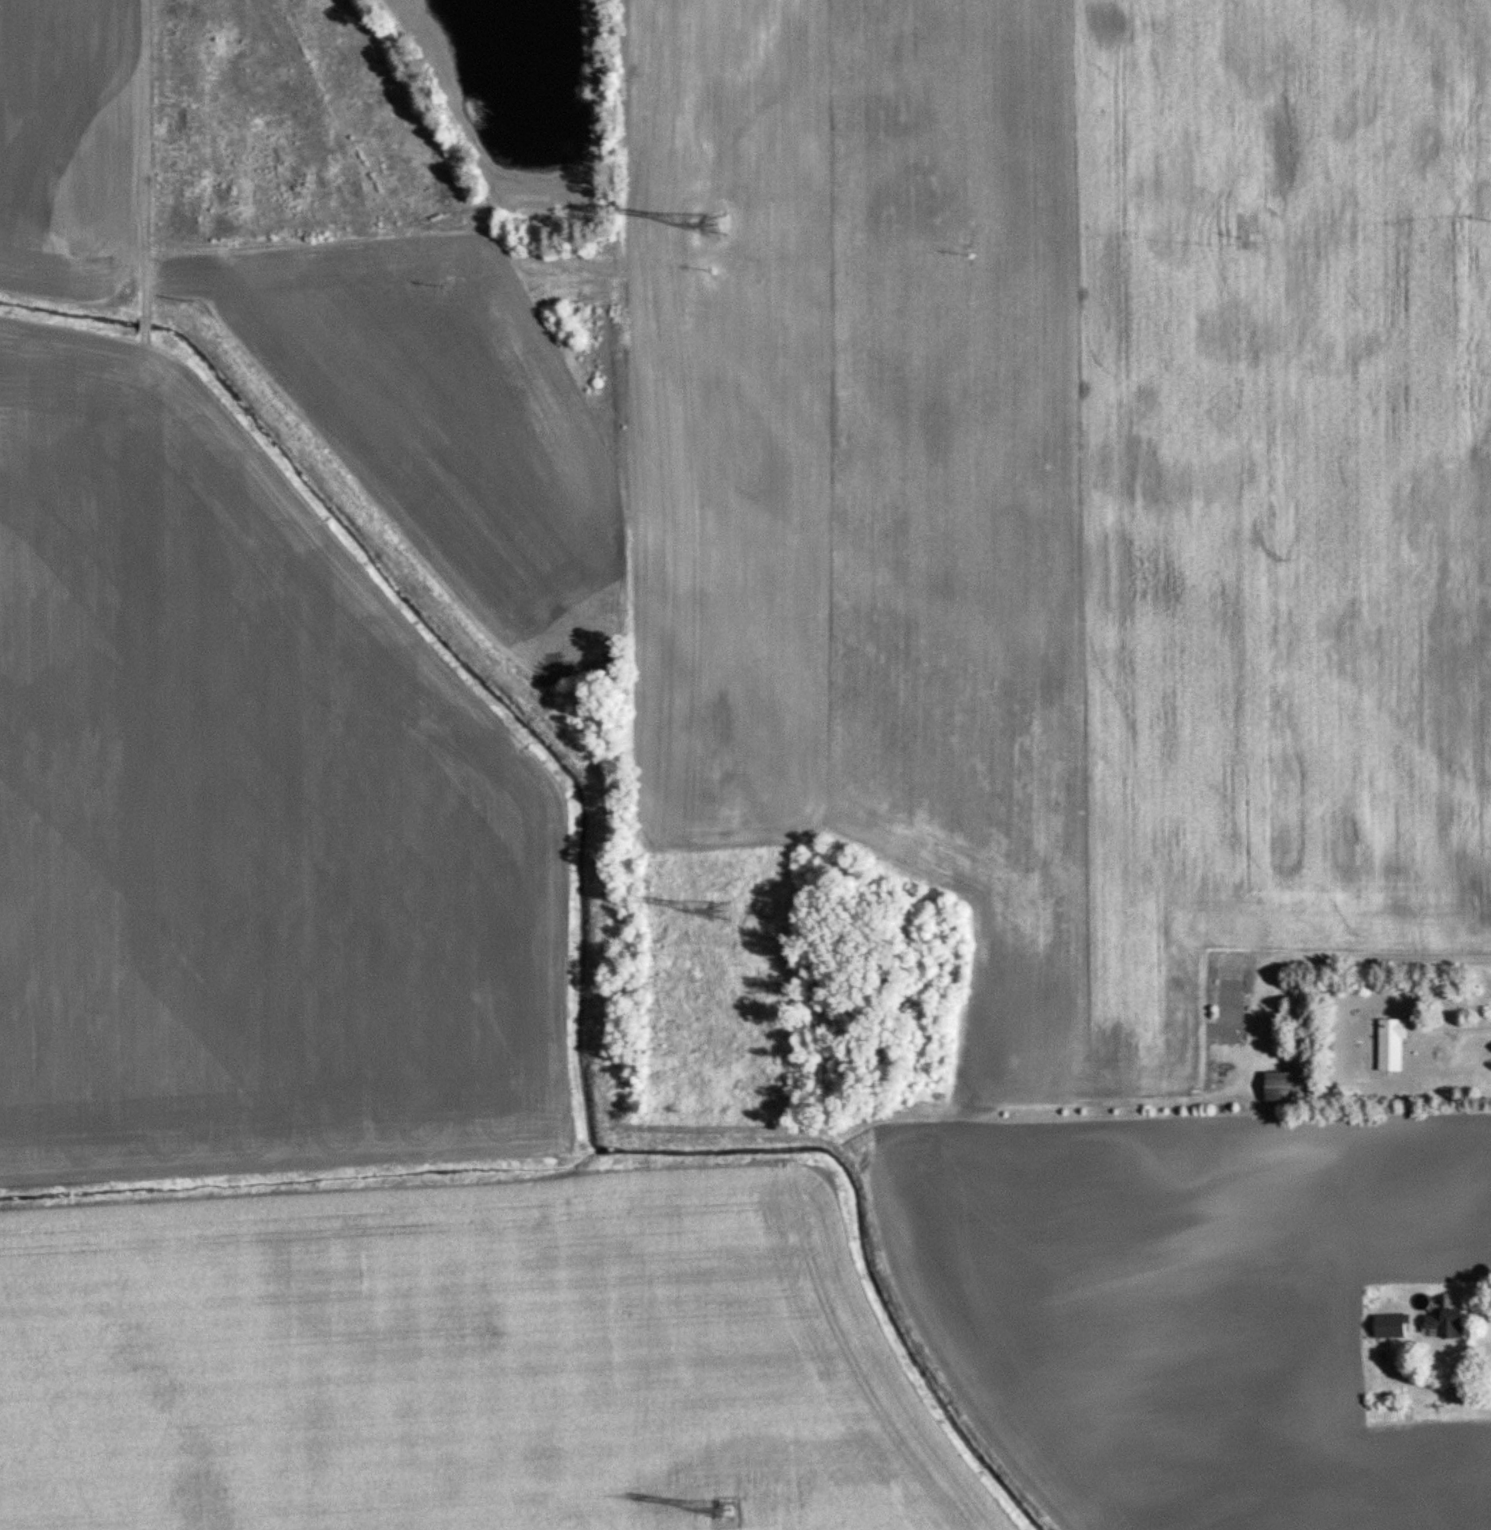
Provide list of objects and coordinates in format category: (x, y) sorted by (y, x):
power tower: (713, 225)
power tower: (725, 912)
building: (1398, 1044)
building: (1297, 1086)
building: (1451, 1318)
building: (1397, 1320)
road: (1426, 1382)
power tower: (728, 1510)

